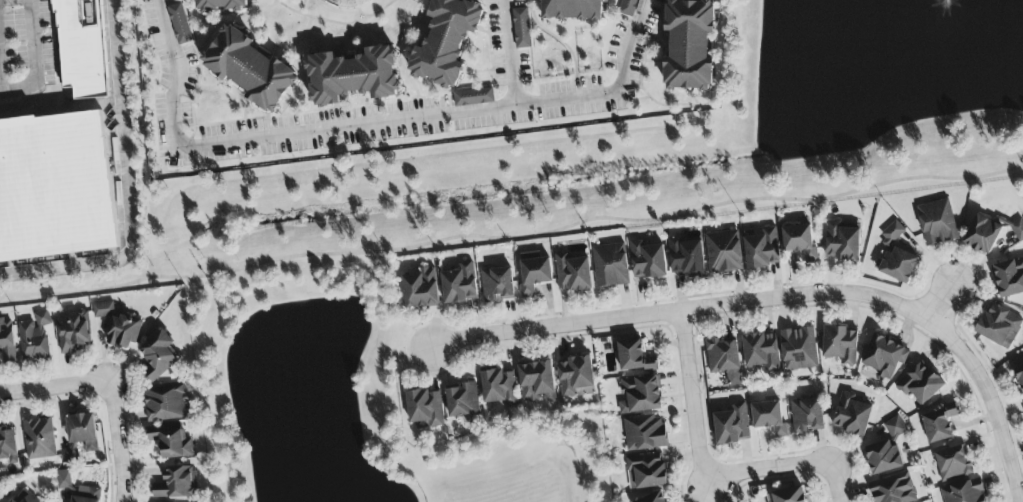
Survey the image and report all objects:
road: (3, 0)
fountain: (952, 0)
building: (221, 5)
building: (629, 8)
building: (573, 10)
building: (179, 25)
building: (521, 29)
building: (446, 41)
building: (689, 45)
building: (82, 48)
road: (34, 61)
building: (249, 69)
building: (352, 76)
road: (1, 85)
road: (614, 93)
building: (473, 98)
building: (6, 110)
road: (445, 114)
road: (172, 119)
building: (55, 187)
road: (128, 193)
building: (937, 223)
building: (1017, 230)
building: (891, 234)
building: (982, 235)
road: (512, 239)
building: (799, 242)
building: (841, 242)
building: (761, 249)
building: (723, 252)
building: (685, 257)
building: (647, 260)
building: (897, 265)
building: (610, 266)
building: (533, 273)
building: (572, 274)
building: (1009, 278)
building: (459, 284)
building: (496, 284)
building: (420, 289)
road: (784, 298)
road: (943, 302)
building: (103, 310)
building: (998, 326)
building: (123, 332)
building: (72, 335)
building: (34, 337)
building: (840, 345)
building: (798, 349)
building: (761, 351)
building: (158, 356)
building: (633, 357)
building: (884, 357)
building: (724, 360)
building: (1019, 376)
building: (576, 377)
building: (537, 382)
building: (919, 384)
road: (54, 387)
building: (499, 388)
building: (640, 395)
building: (462, 402)
building: (165, 404)
building: (425, 410)
building: (806, 415)
building: (851, 416)
building: (769, 418)
building: (939, 424)
building: (732, 425)
building: (82, 431)
building: (645, 433)
building: (39, 439)
road: (120, 441)
building: (171, 441)
building: (8, 446)
building: (886, 450)
building: (71, 454)
building: (952, 463)
building: (645, 471)
road: (708, 477)
building: (63, 482)
building: (177, 484)
building: (893, 489)
building: (964, 492)
building: (788, 495)
building: (87, 496)
building: (25, 497)
building: (652, 498)

